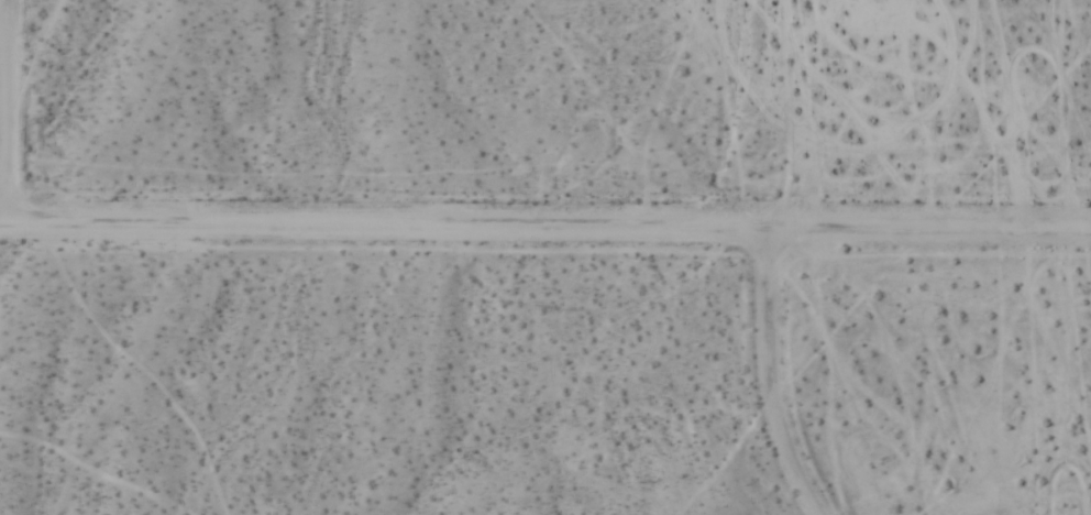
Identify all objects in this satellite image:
road: (2, 65)
road: (383, 226)
road: (928, 228)
road: (768, 376)

